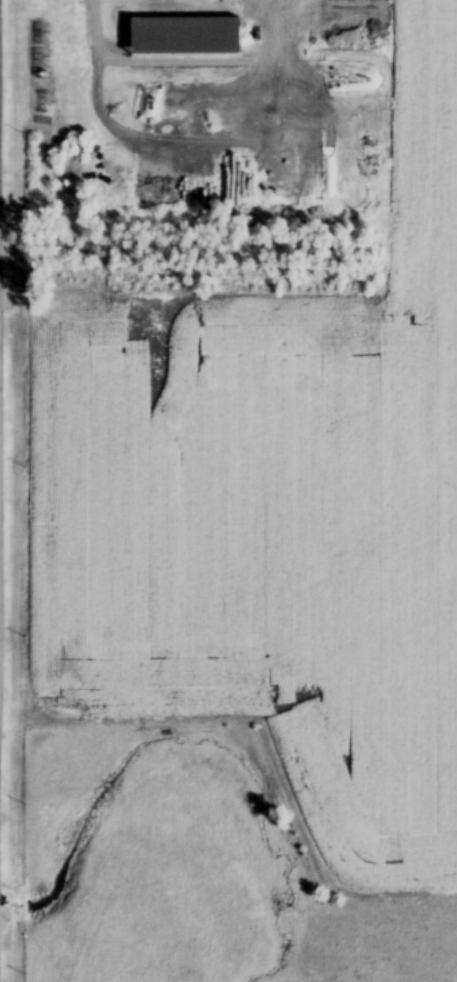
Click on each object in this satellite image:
building: (272, 26)

